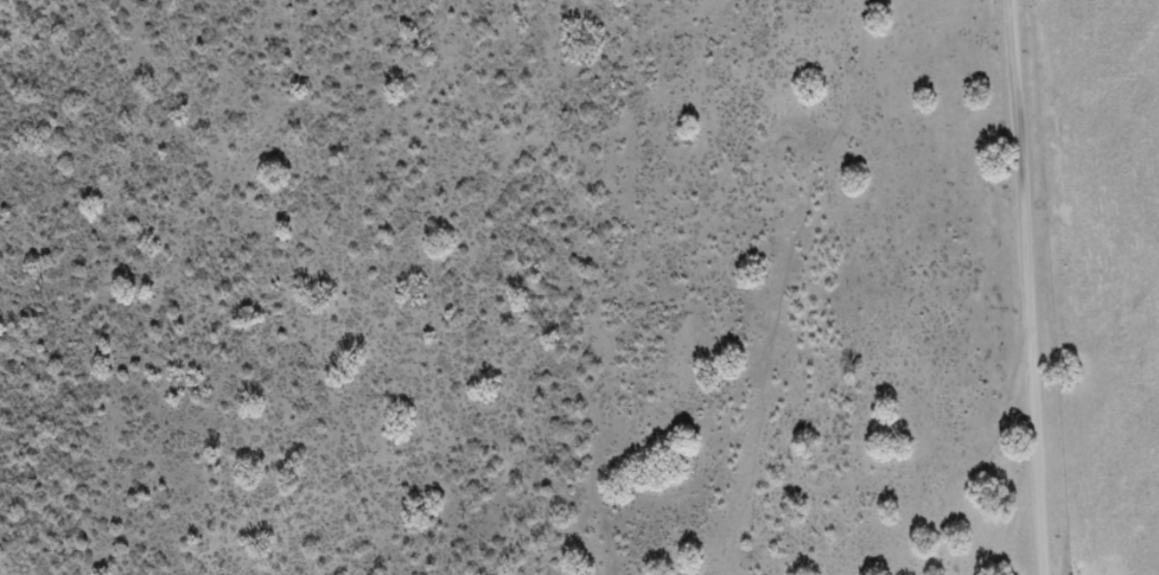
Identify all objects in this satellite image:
road: (1036, 287)

